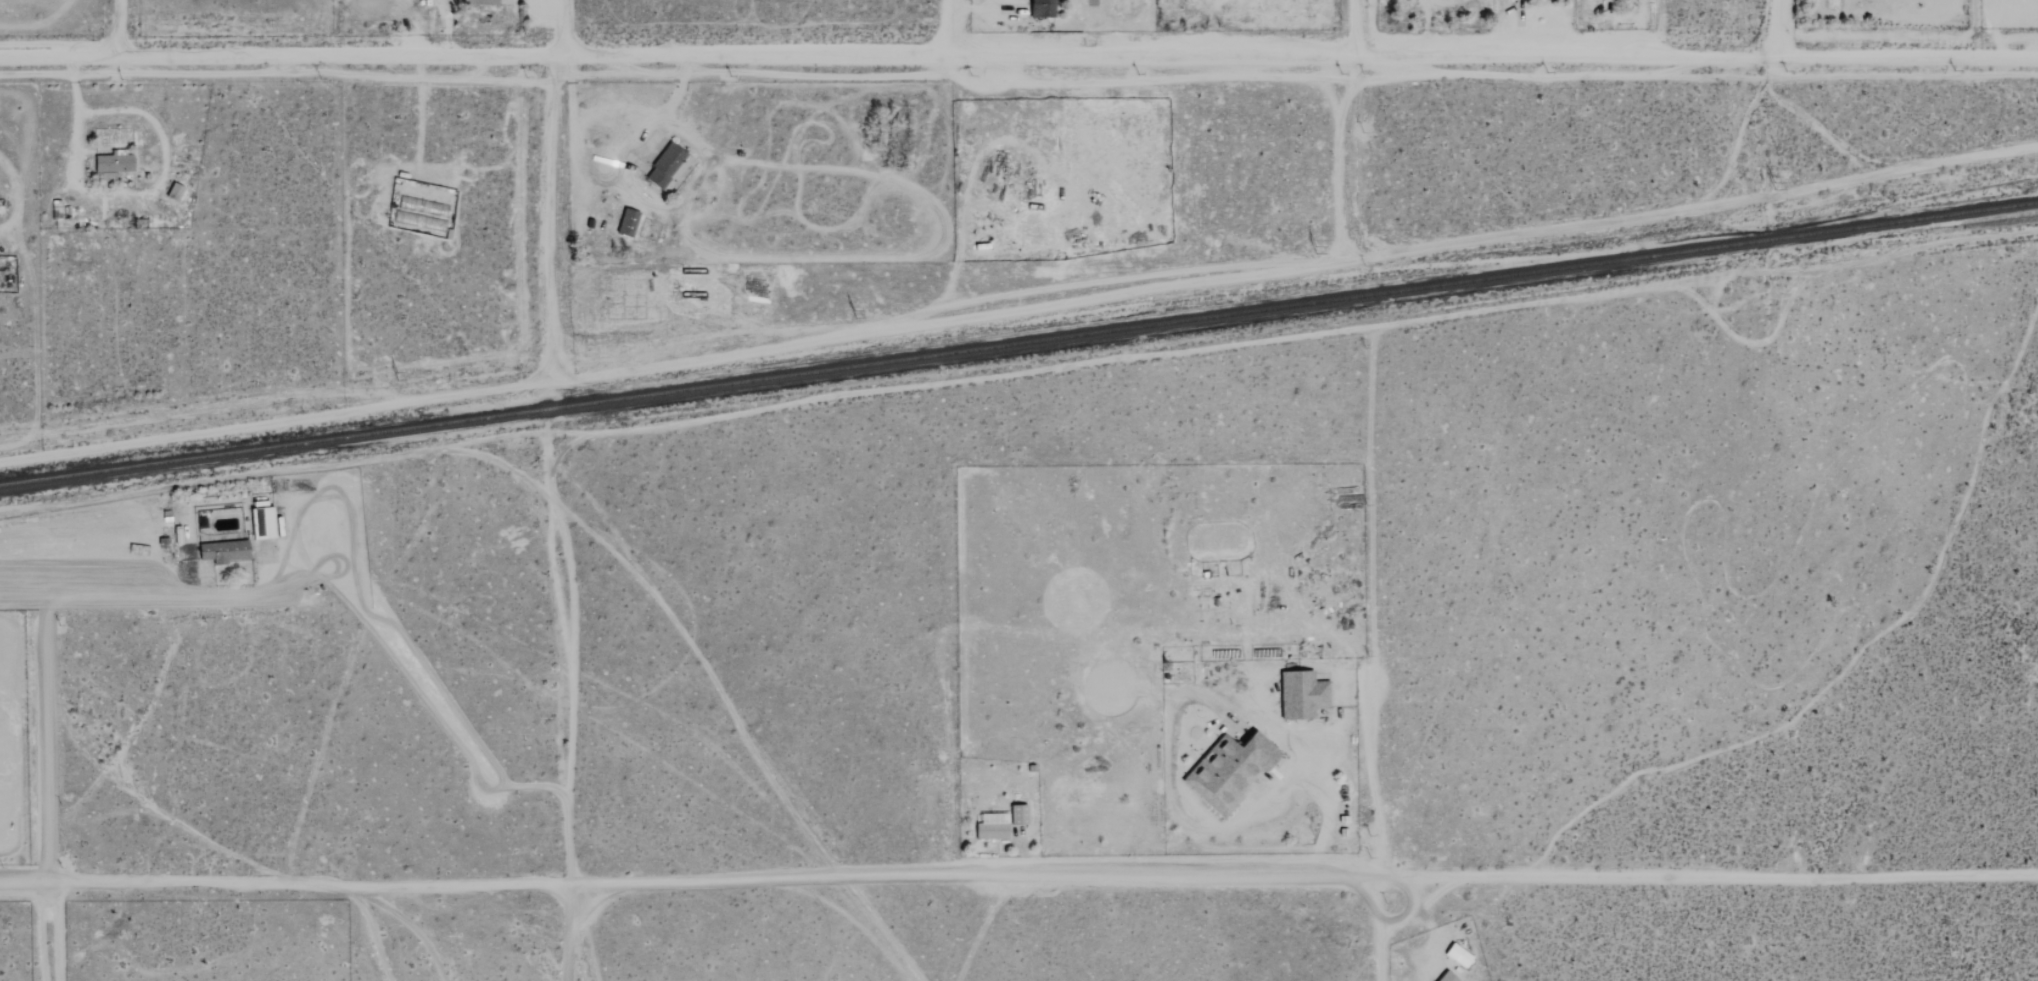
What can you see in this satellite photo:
building: (478, 2)
road: (970, 6)
building: (1040, 9)
road: (445, 24)
road: (560, 25)
road: (947, 26)
road: (1213, 26)
road: (118, 27)
road: (1362, 30)
road: (1778, 30)
road: (1019, 54)
road: (420, 108)
road: (73, 126)
road: (609, 154)
building: (115, 166)
building: (665, 167)
power tower: (1777, 188)
building: (177, 192)
road: (21, 196)
building: (625, 222)
power tower: (1318, 253)
road: (1294, 266)
power tower: (853, 312)
railway: (1018, 342)
power tower: (394, 375)
road: (556, 515)
building: (258, 520)
building: (221, 551)
road: (230, 597)
building: (1299, 694)
road: (1369, 760)
building: (1226, 770)
building: (1016, 814)
road: (1324, 828)
building: (988, 830)
road: (1018, 883)
road: (1379, 929)
road: (58, 930)
building: (1455, 955)
building: (1444, 977)

